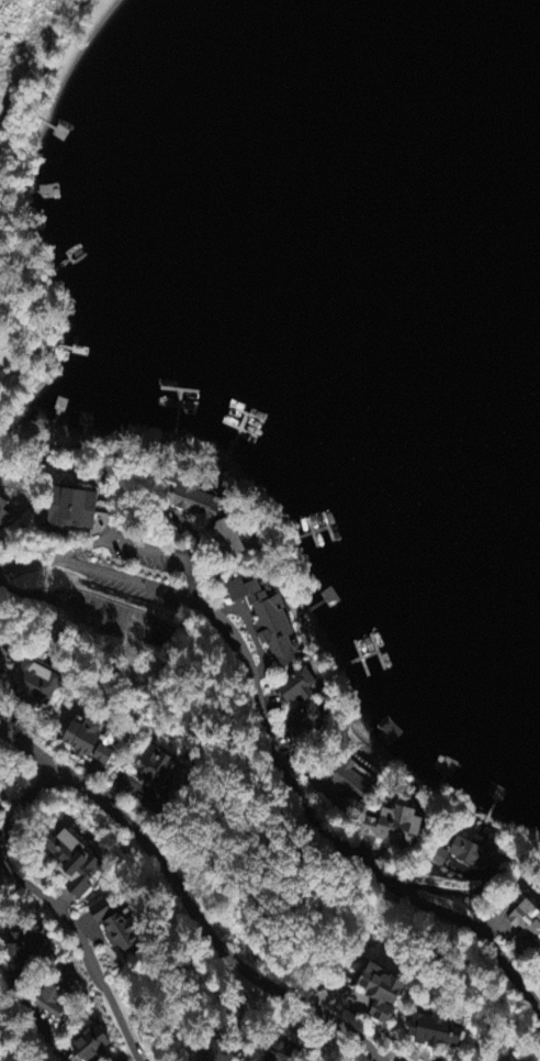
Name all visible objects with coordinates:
building: (75, 510)
building: (4, 511)
building: (230, 539)
building: (270, 620)
building: (4, 661)
building: (34, 687)
building: (301, 688)
building: (305, 722)
building: (91, 742)
road: (274, 755)
building: (158, 771)
building: (353, 783)
road: (23, 797)
building: (395, 829)
building: (477, 855)
building: (439, 860)
building: (76, 861)
road: (182, 900)
building: (102, 911)
building: (526, 928)
building: (125, 932)
road: (85, 946)
building: (16, 953)
building: (383, 994)
building: (54, 1004)
building: (437, 1032)
road: (45, 1042)
building: (92, 1046)
building: (218, 1052)
building: (286, 1053)
road: (389, 1057)

